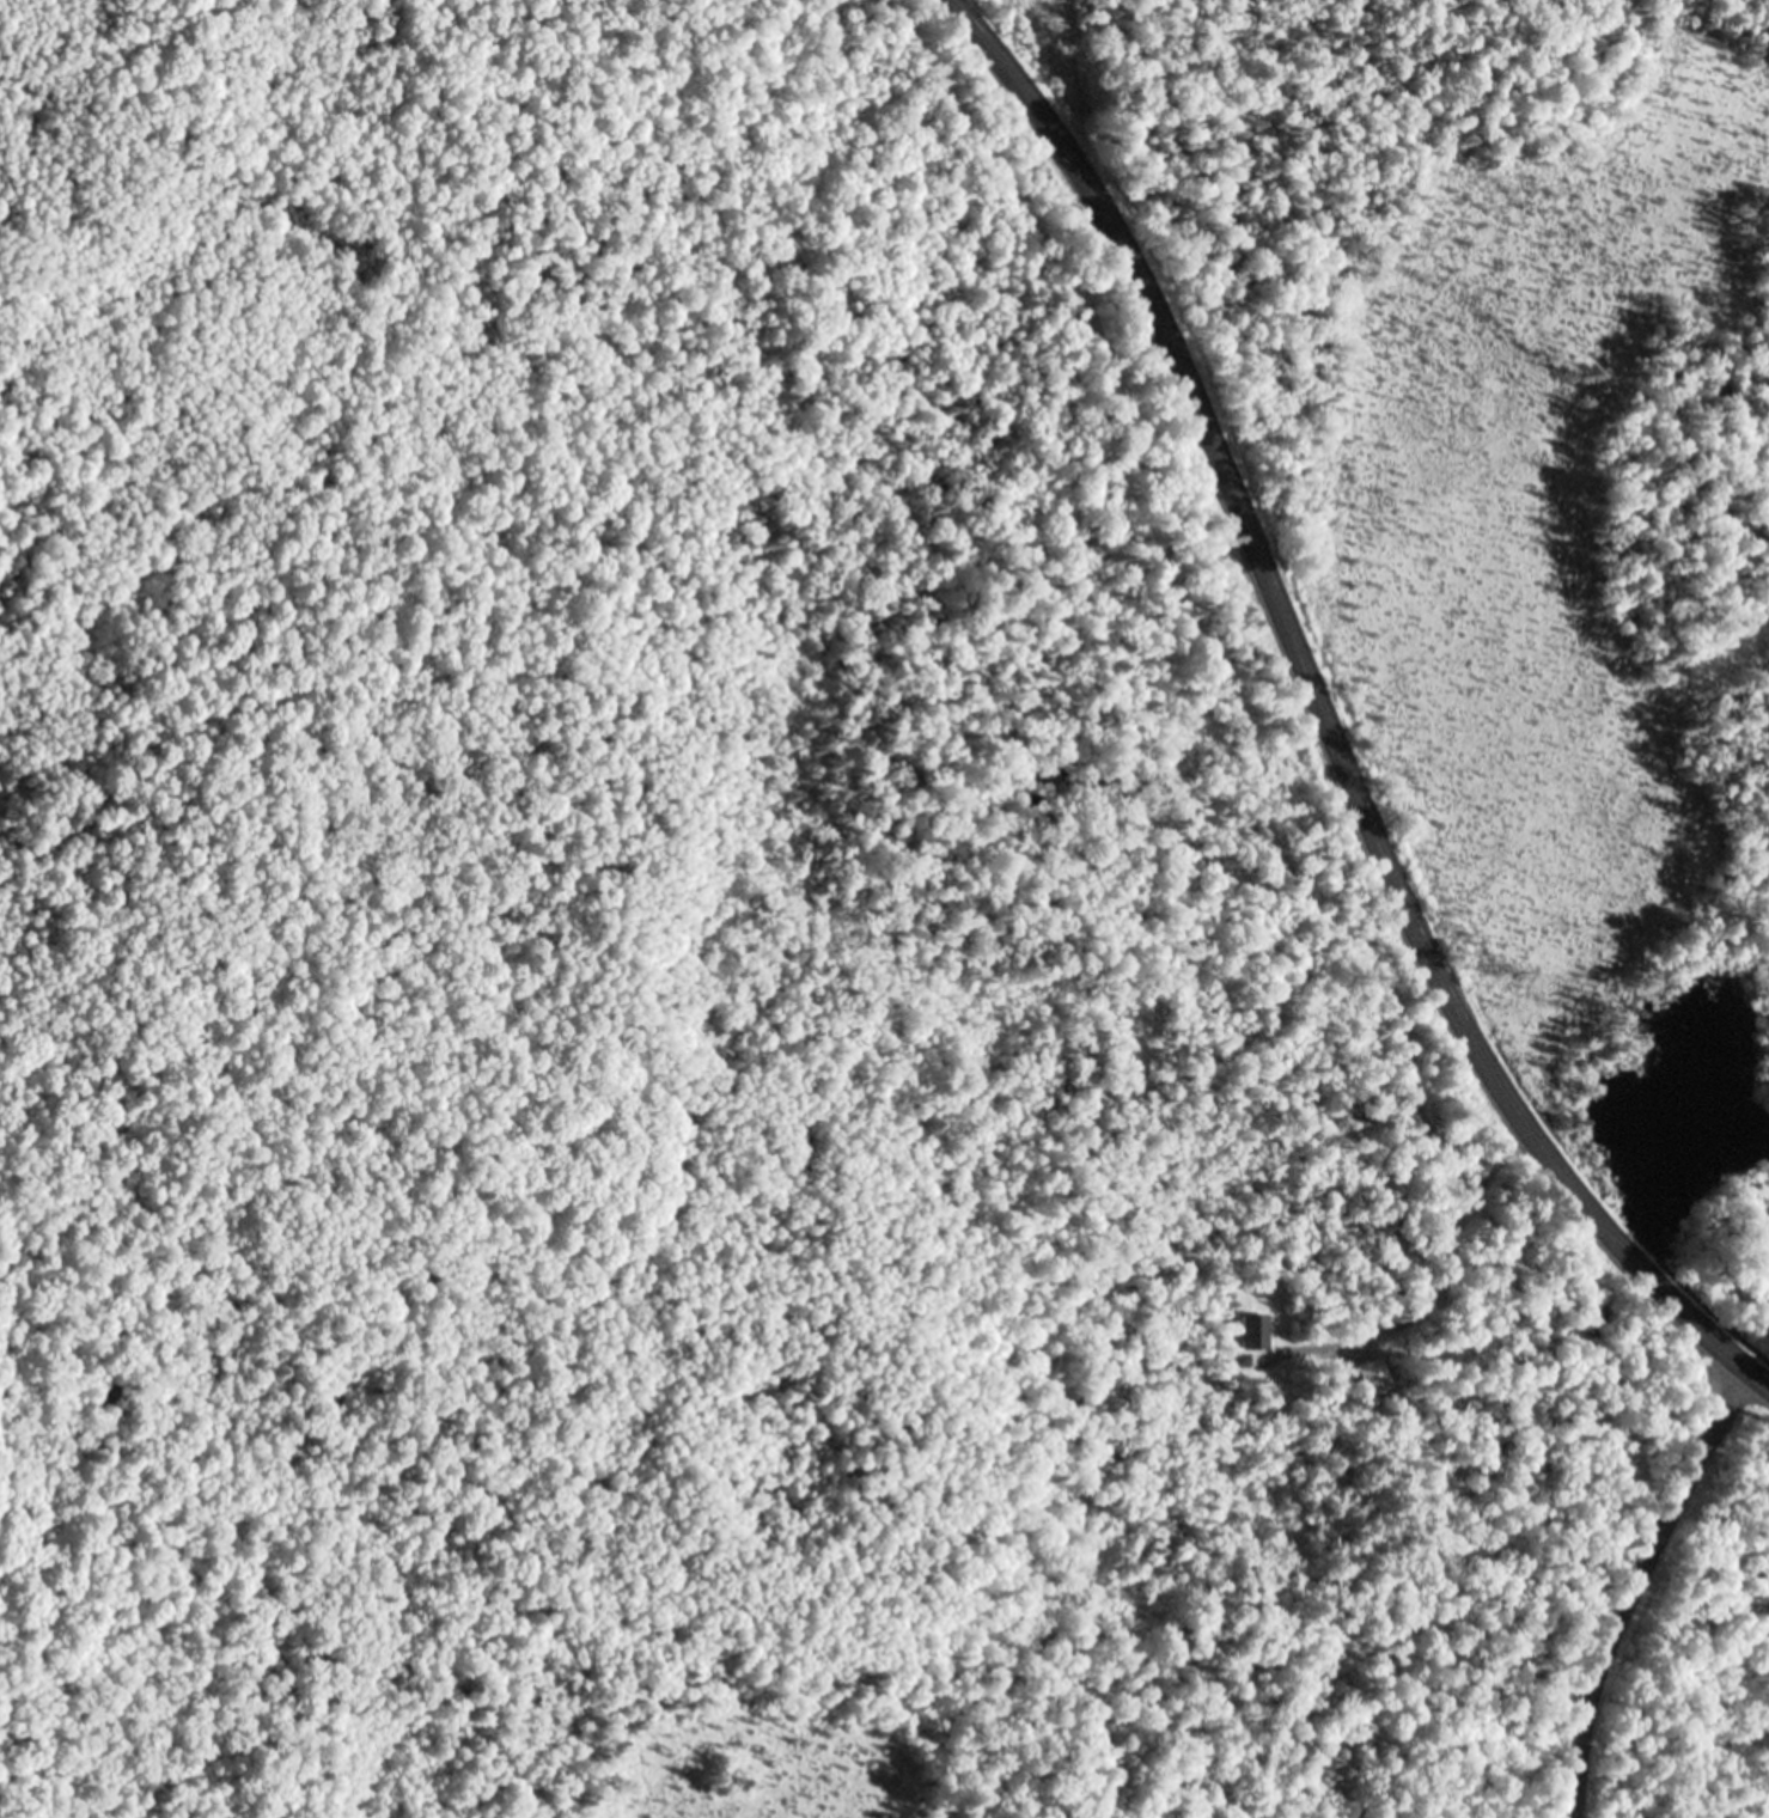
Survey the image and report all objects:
road: (1325, 712)
road: (1637, 1579)

